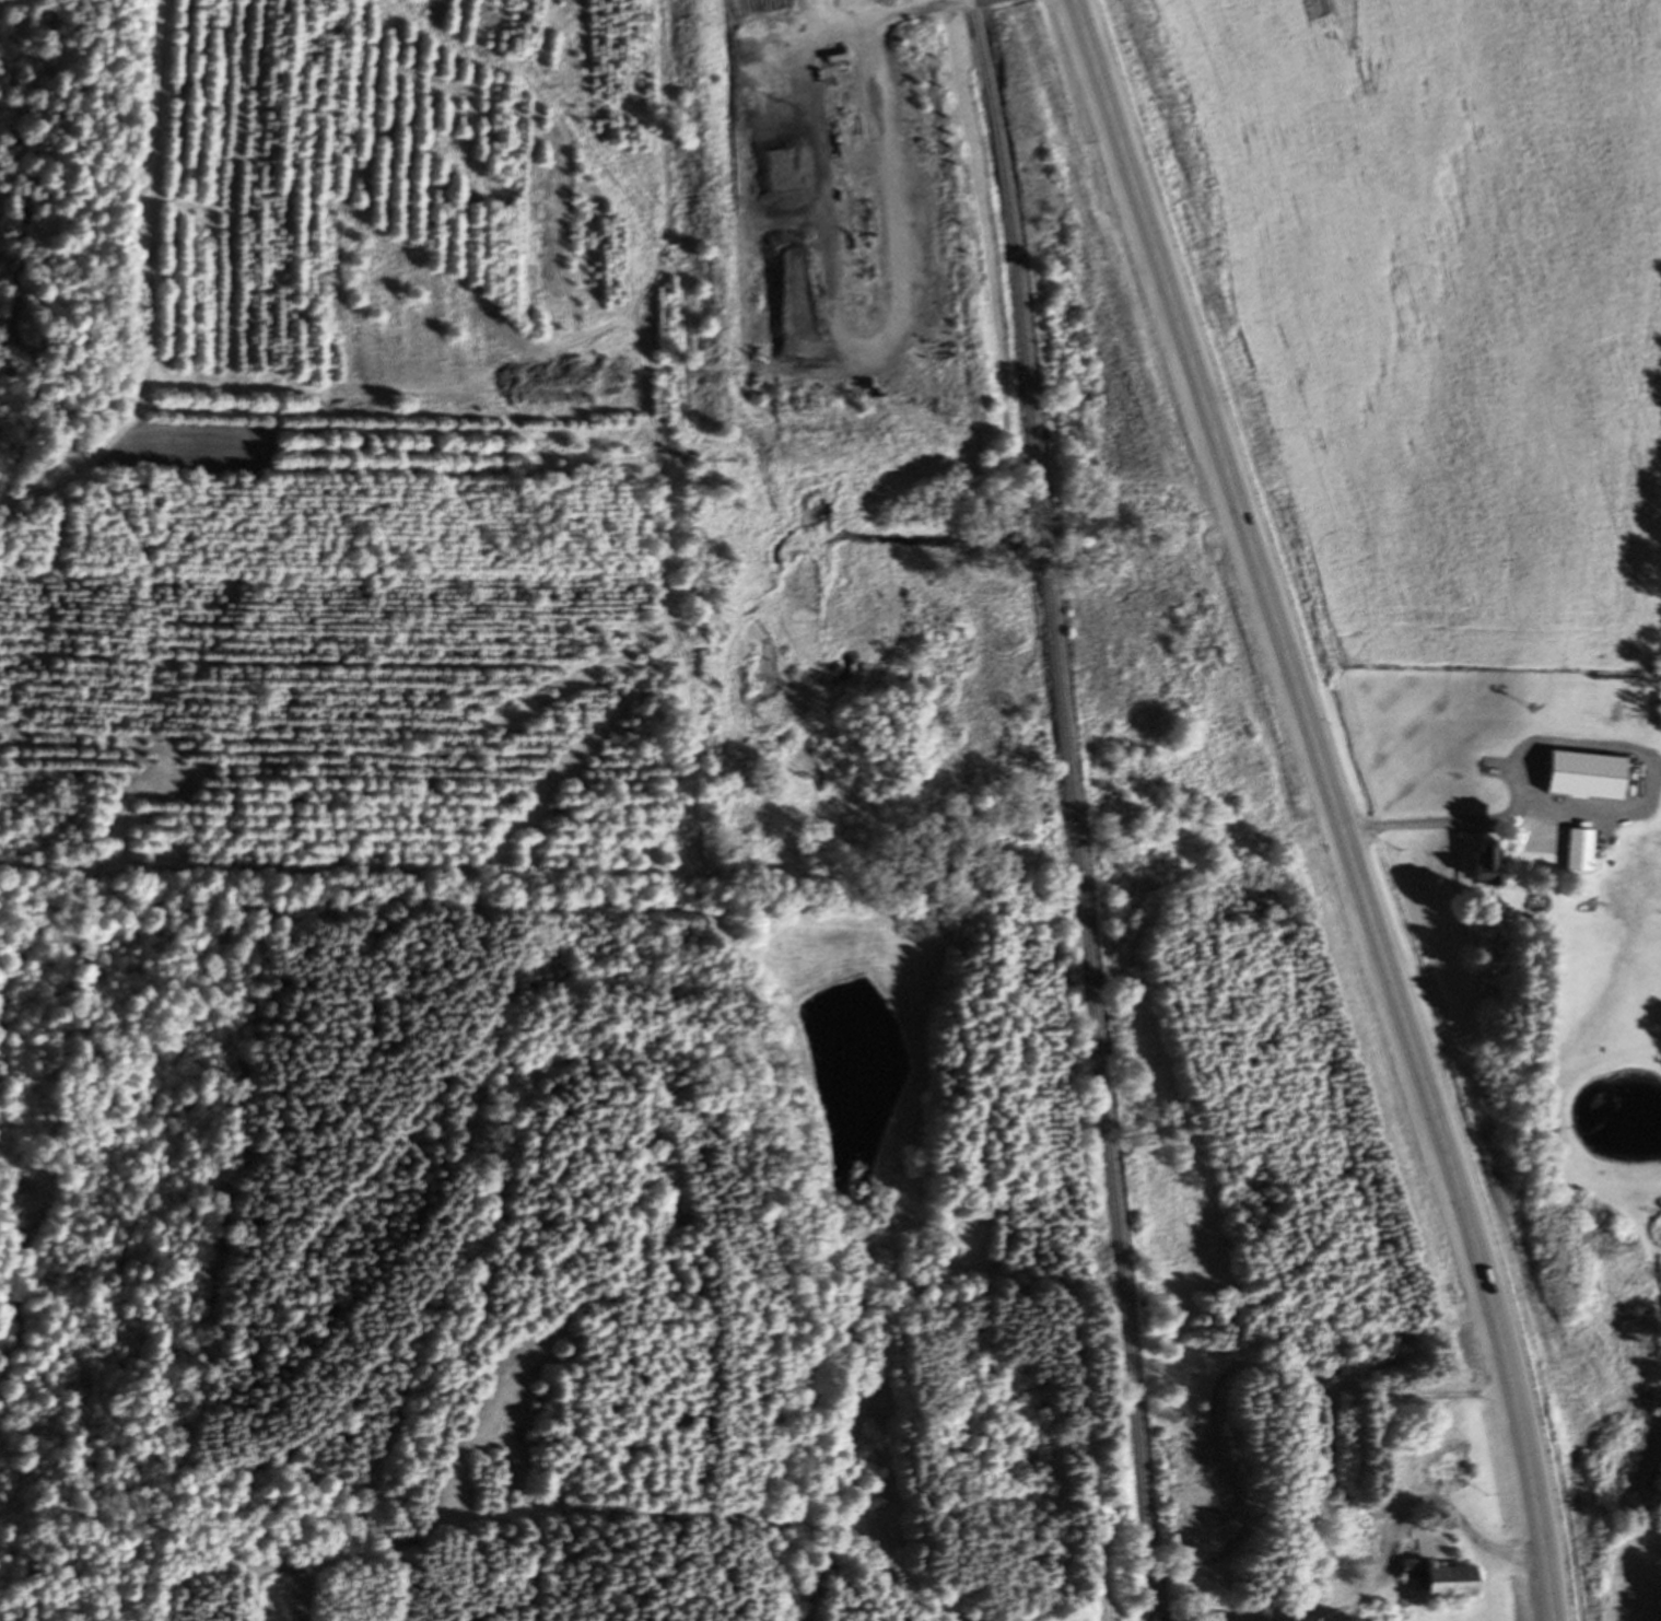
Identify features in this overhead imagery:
road: (892, 19)
building: (913, 113)
building: (1577, 778)
road: (1335, 805)
railway: (1074, 808)
road: (1604, 813)
building: (1575, 853)
building: (1475, 868)
road: (1305, 1376)
building: (1184, 1456)
building: (1452, 1470)
building: (1359, 1532)
building: (1224, 1541)
road: (1485, 1544)
building: (1451, 1581)

